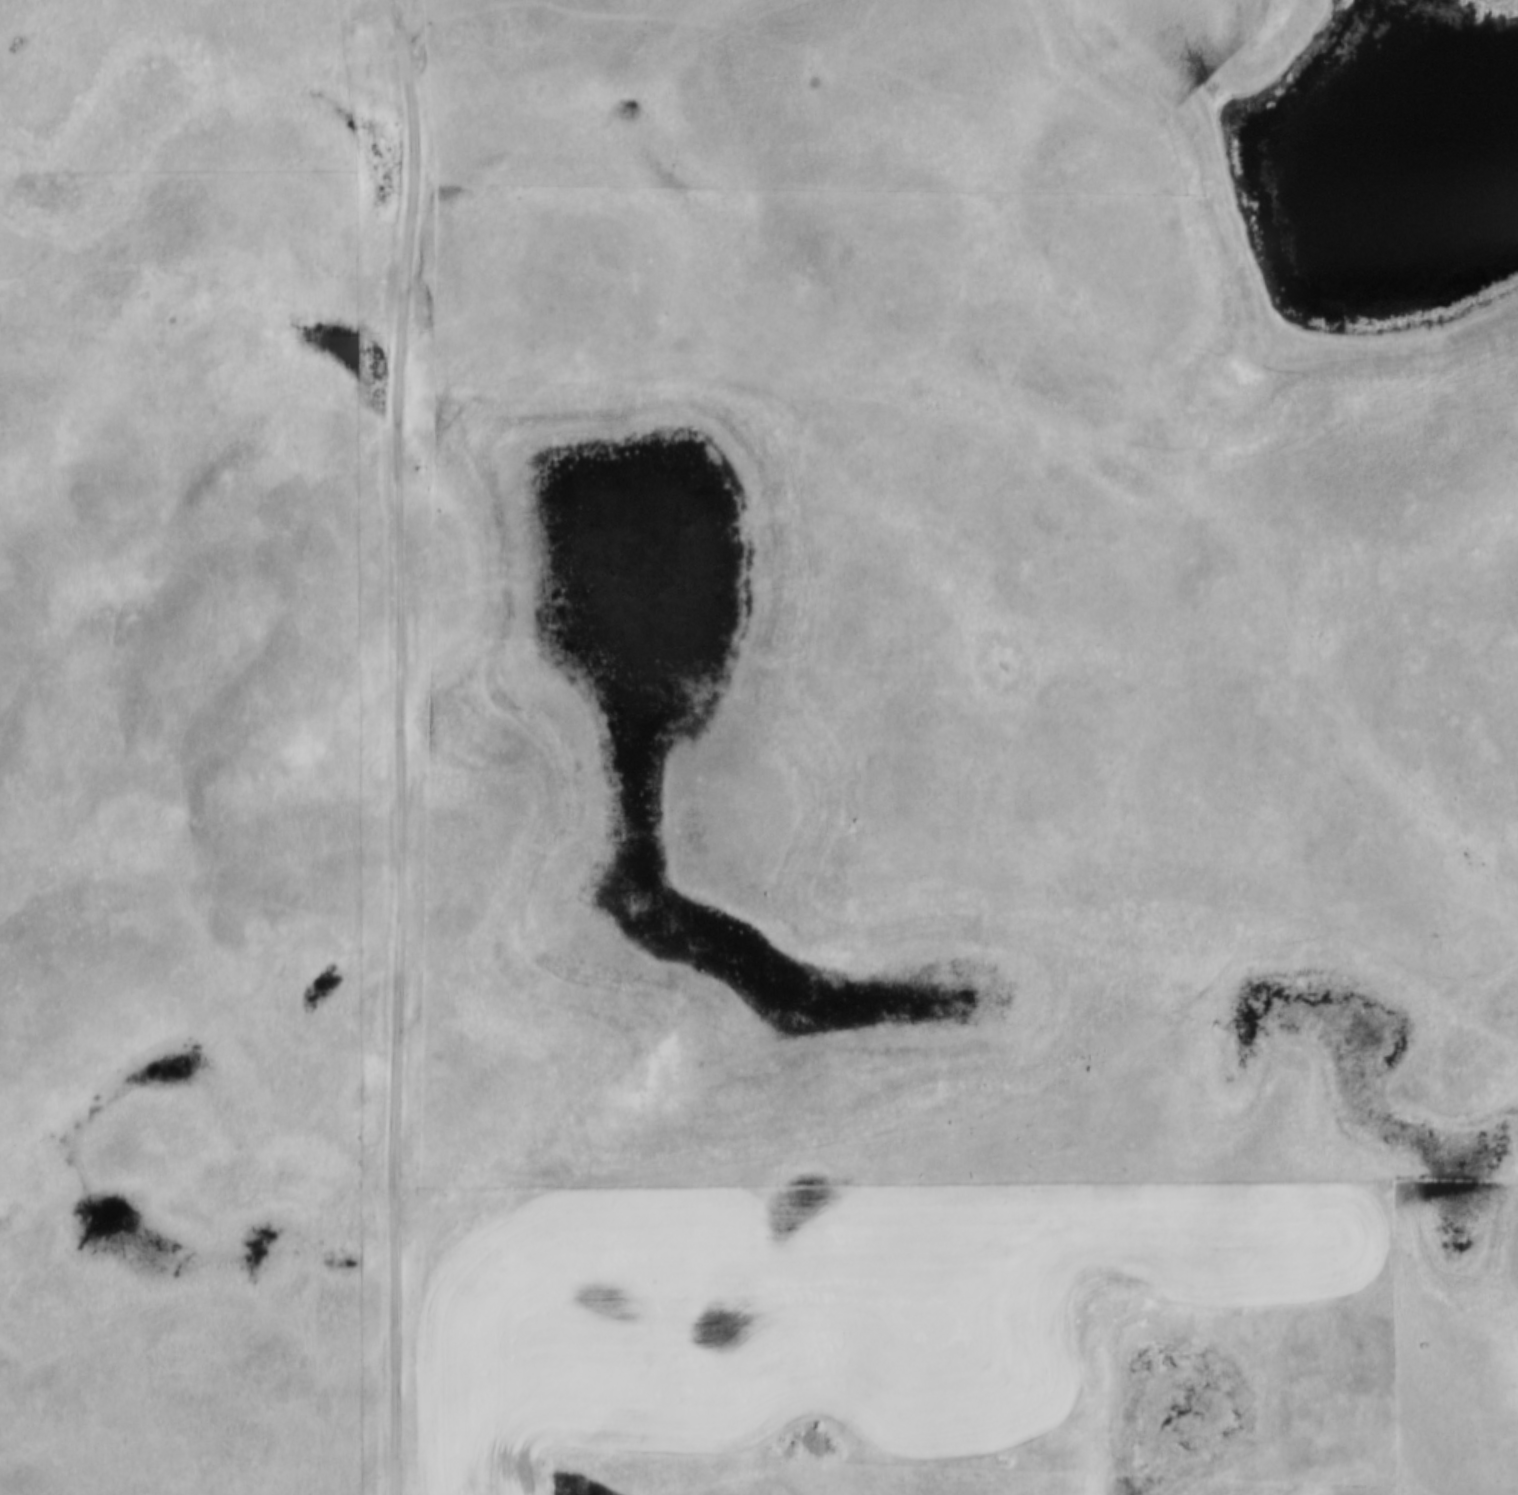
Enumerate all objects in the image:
road: (397, 746)

